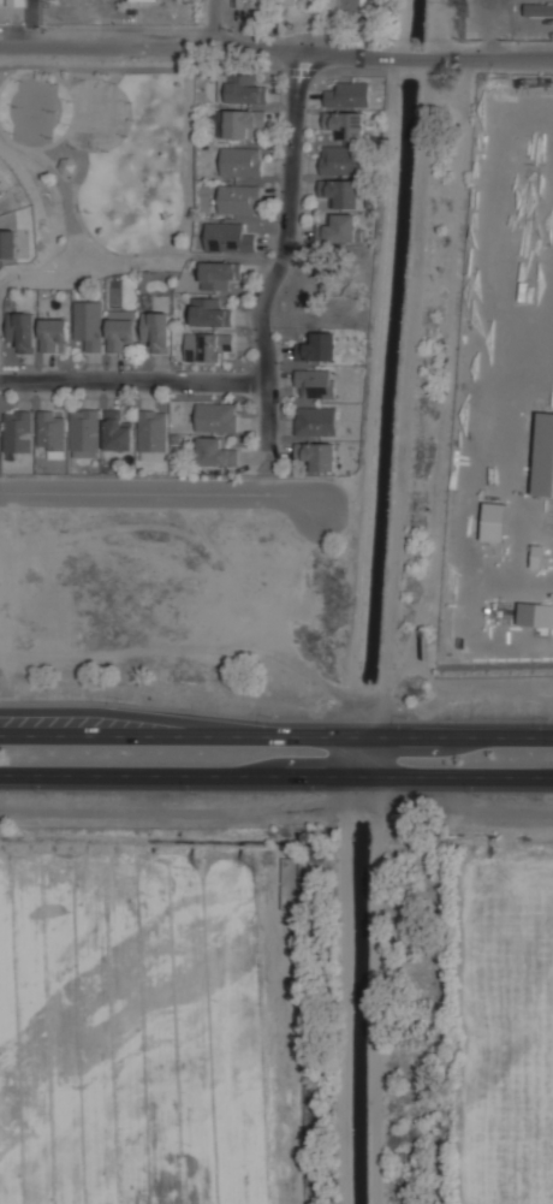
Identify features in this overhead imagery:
building: (144, 0)
building: (17, 1)
building: (246, 2)
building: (286, 2)
building: (343, 6)
building: (539, 10)
road: (214, 24)
road: (276, 49)
building: (240, 88)
building: (349, 95)
building: (242, 121)
building: (345, 123)
building: (242, 160)
building: (341, 160)
park: (102, 164)
building: (67, 165)
building: (1, 191)
building: (343, 191)
building: (239, 198)
building: (339, 229)
building: (228, 235)
building: (8, 243)
road: (284, 245)
road: (234, 262)
building: (219, 273)
road: (16, 274)
building: (210, 312)
building: (89, 324)
building: (22, 328)
building: (159, 328)
building: (55, 333)
building: (123, 333)
building: (218, 346)
building: (317, 346)
road: (132, 379)
building: (315, 382)
building: (218, 419)
building: (315, 421)
building: (18, 432)
building: (52, 432)
building: (118, 432)
building: (153, 432)
building: (85, 434)
building: (215, 452)
building: (319, 453)
road: (170, 494)
road: (276, 734)
road: (364, 755)
road: (275, 775)
road: (276, 807)
crop: (505, 1022)
crop: (147, 1025)

